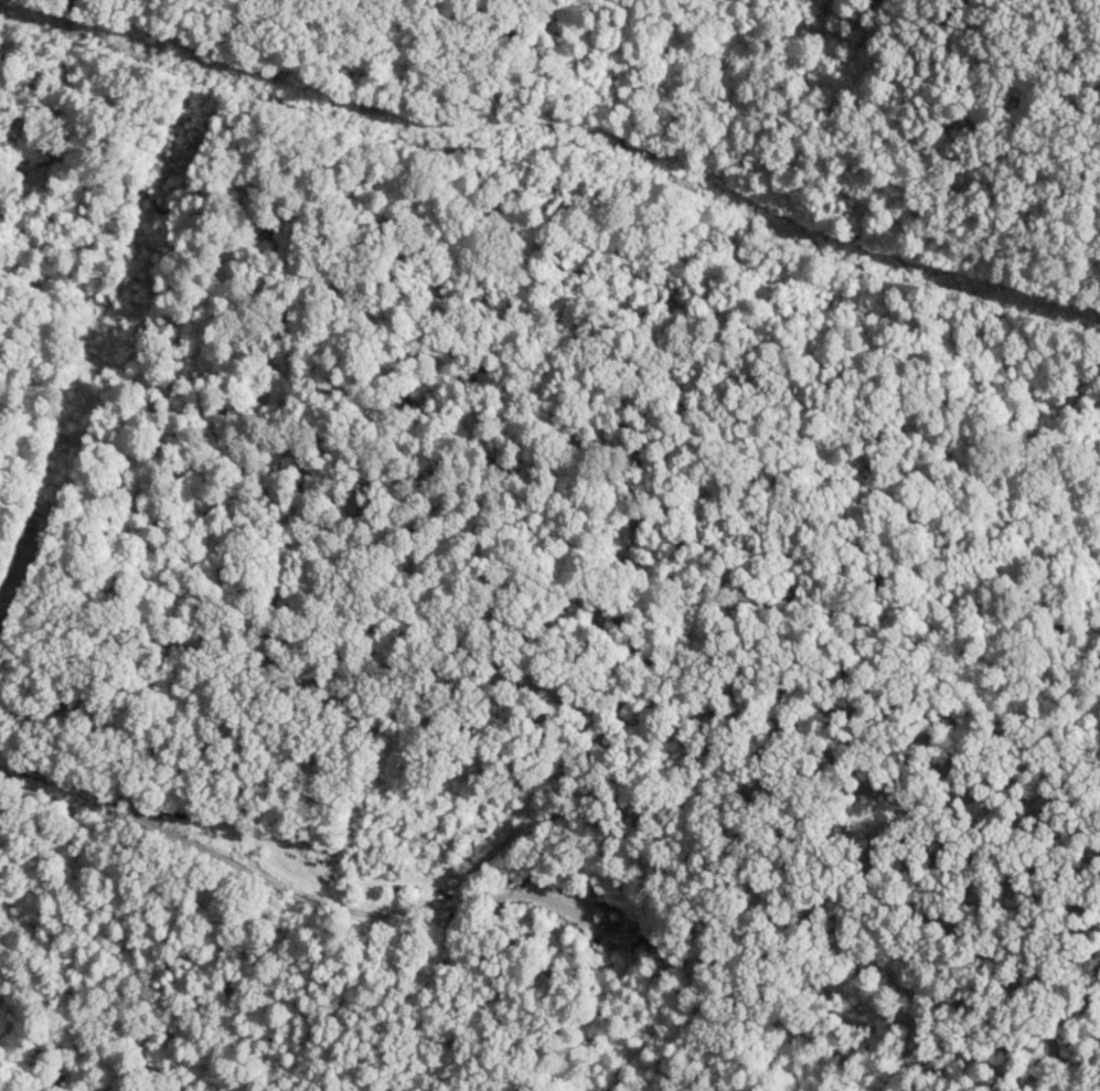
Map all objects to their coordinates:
road: (142, 816)
building: (311, 843)
building: (398, 890)

